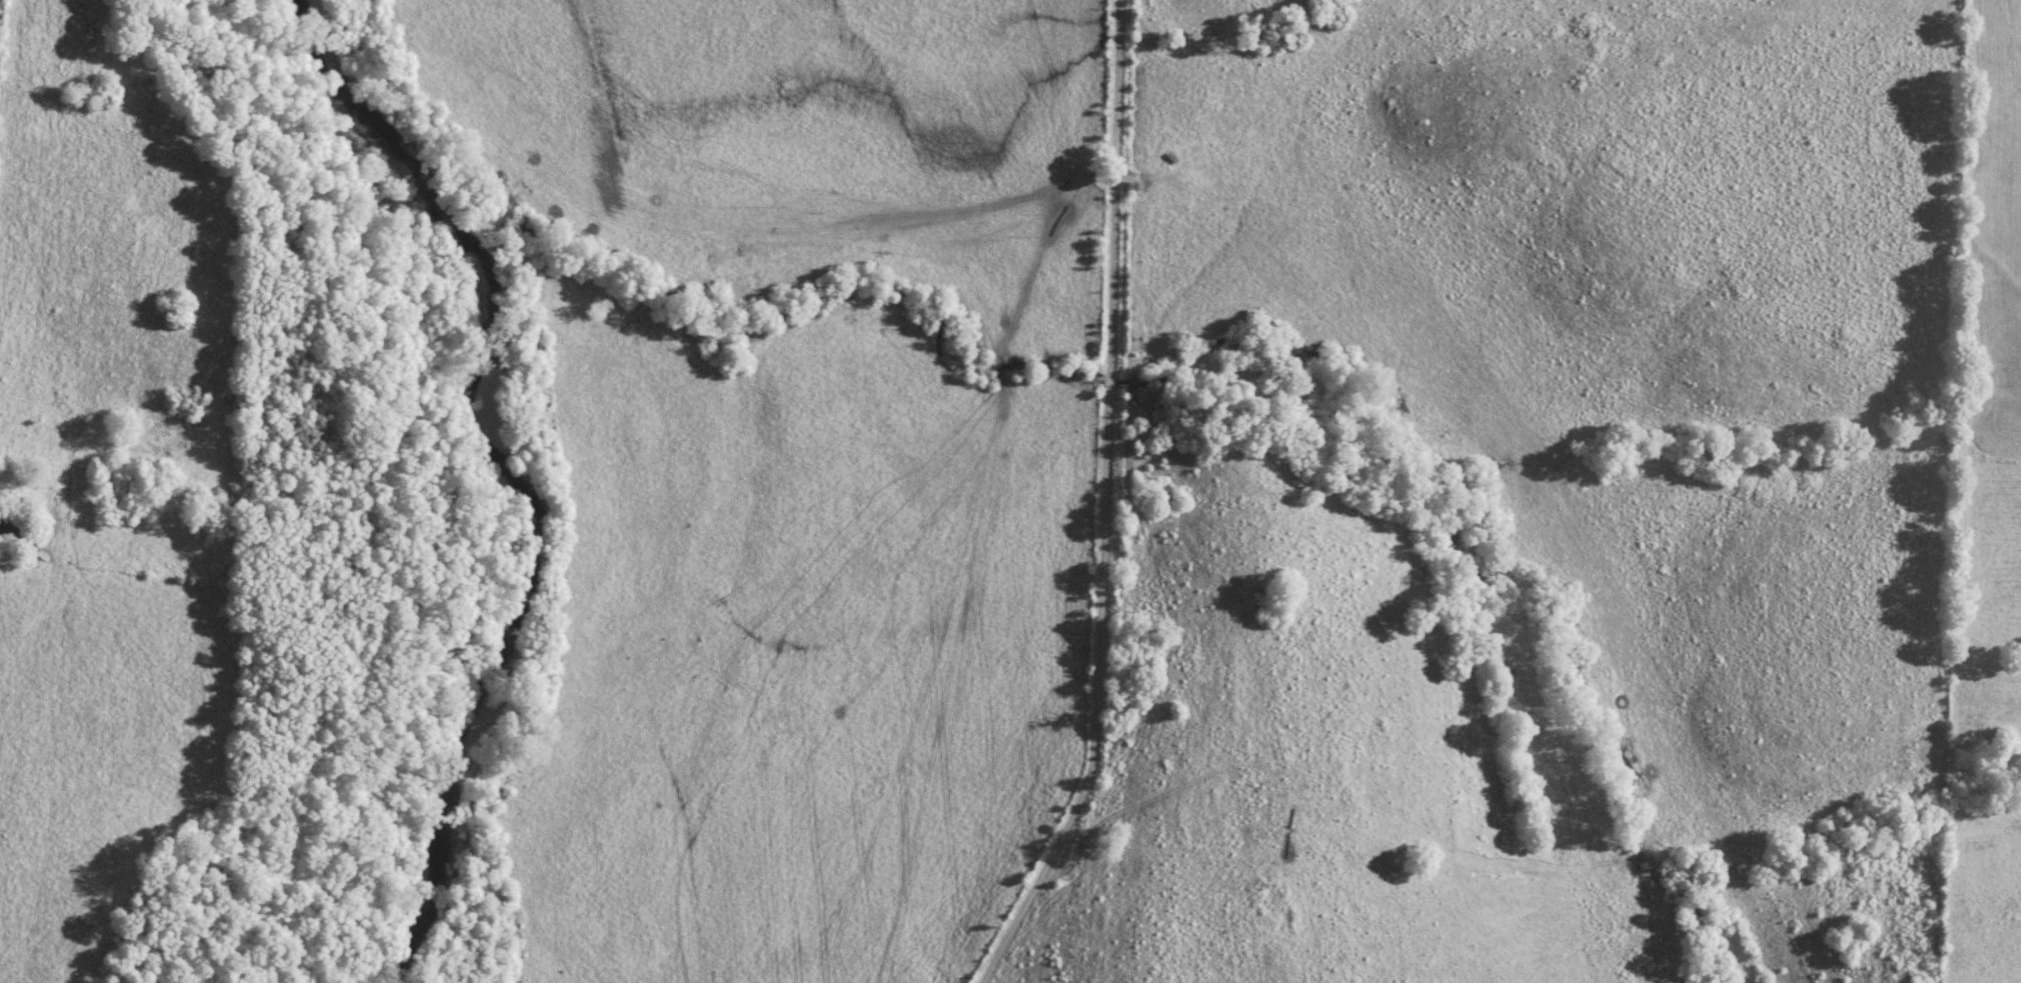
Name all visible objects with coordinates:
road: (1115, 181)
road: (1096, 686)

